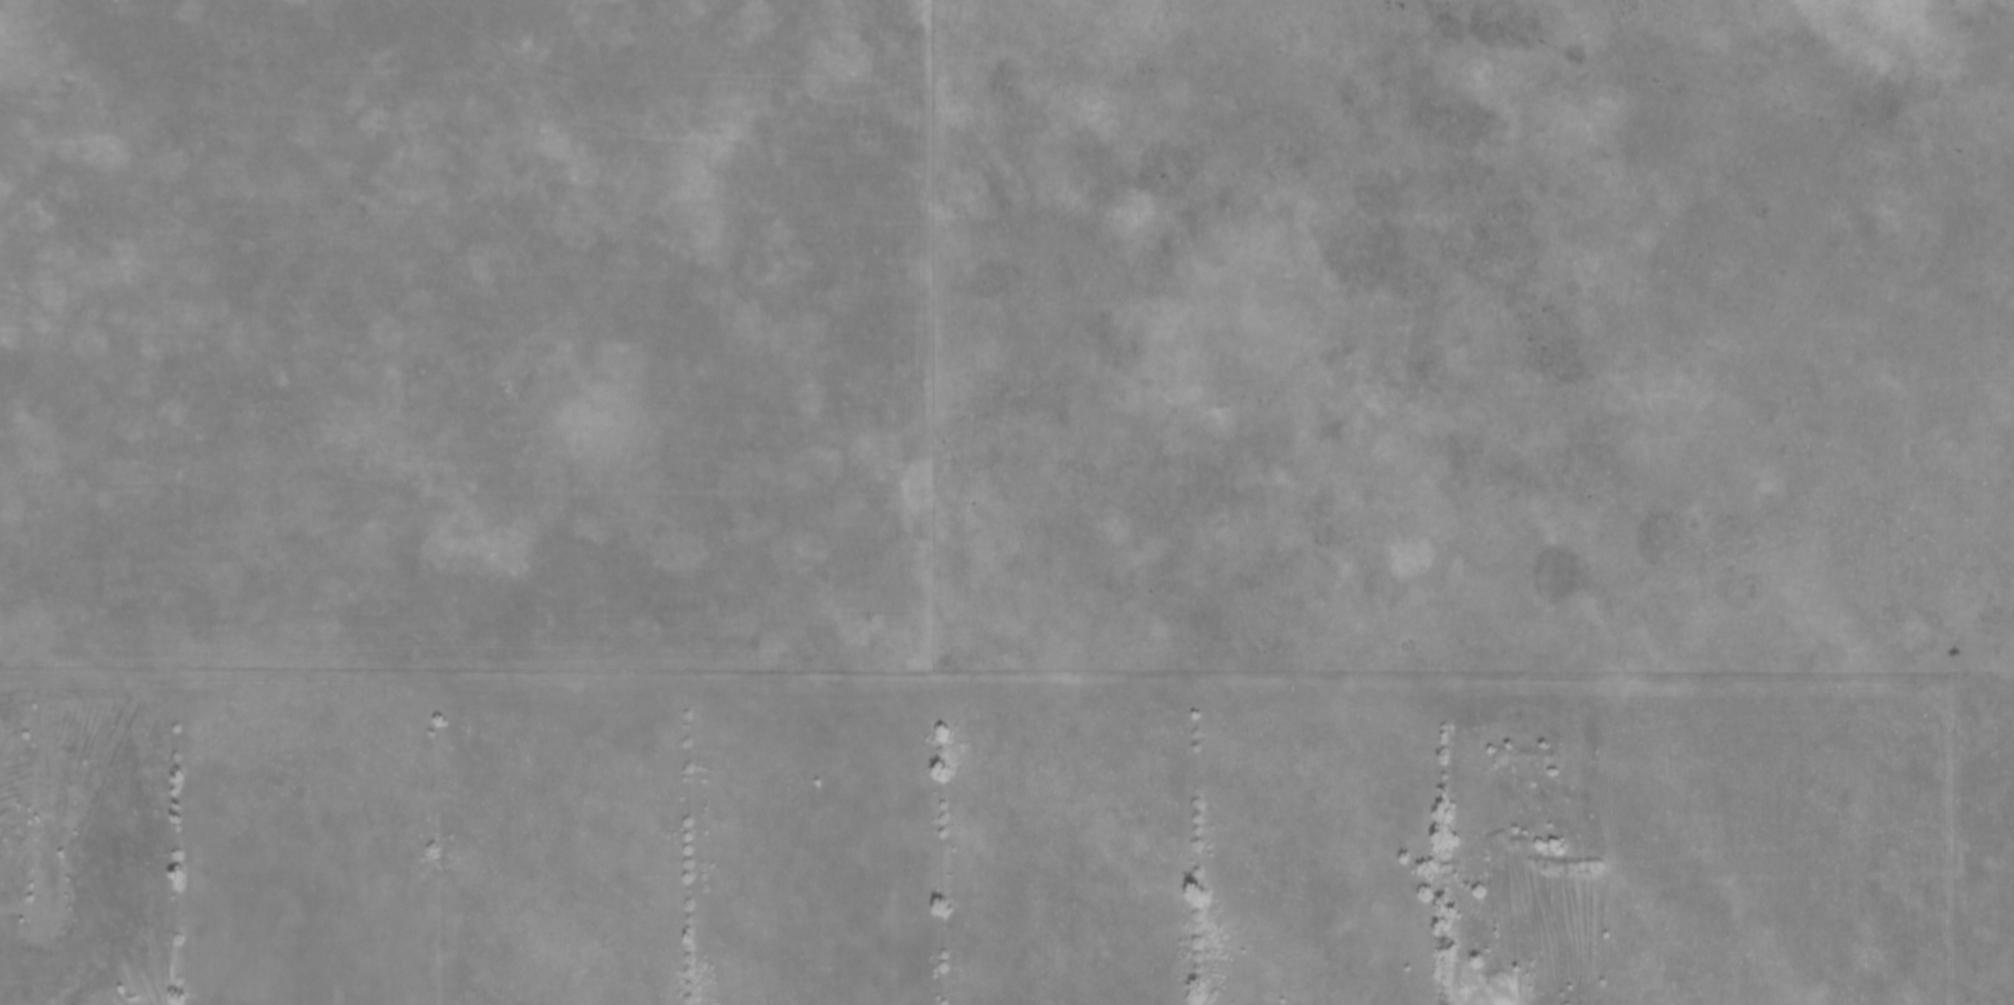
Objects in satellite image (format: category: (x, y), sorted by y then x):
road: (1987, 30)

